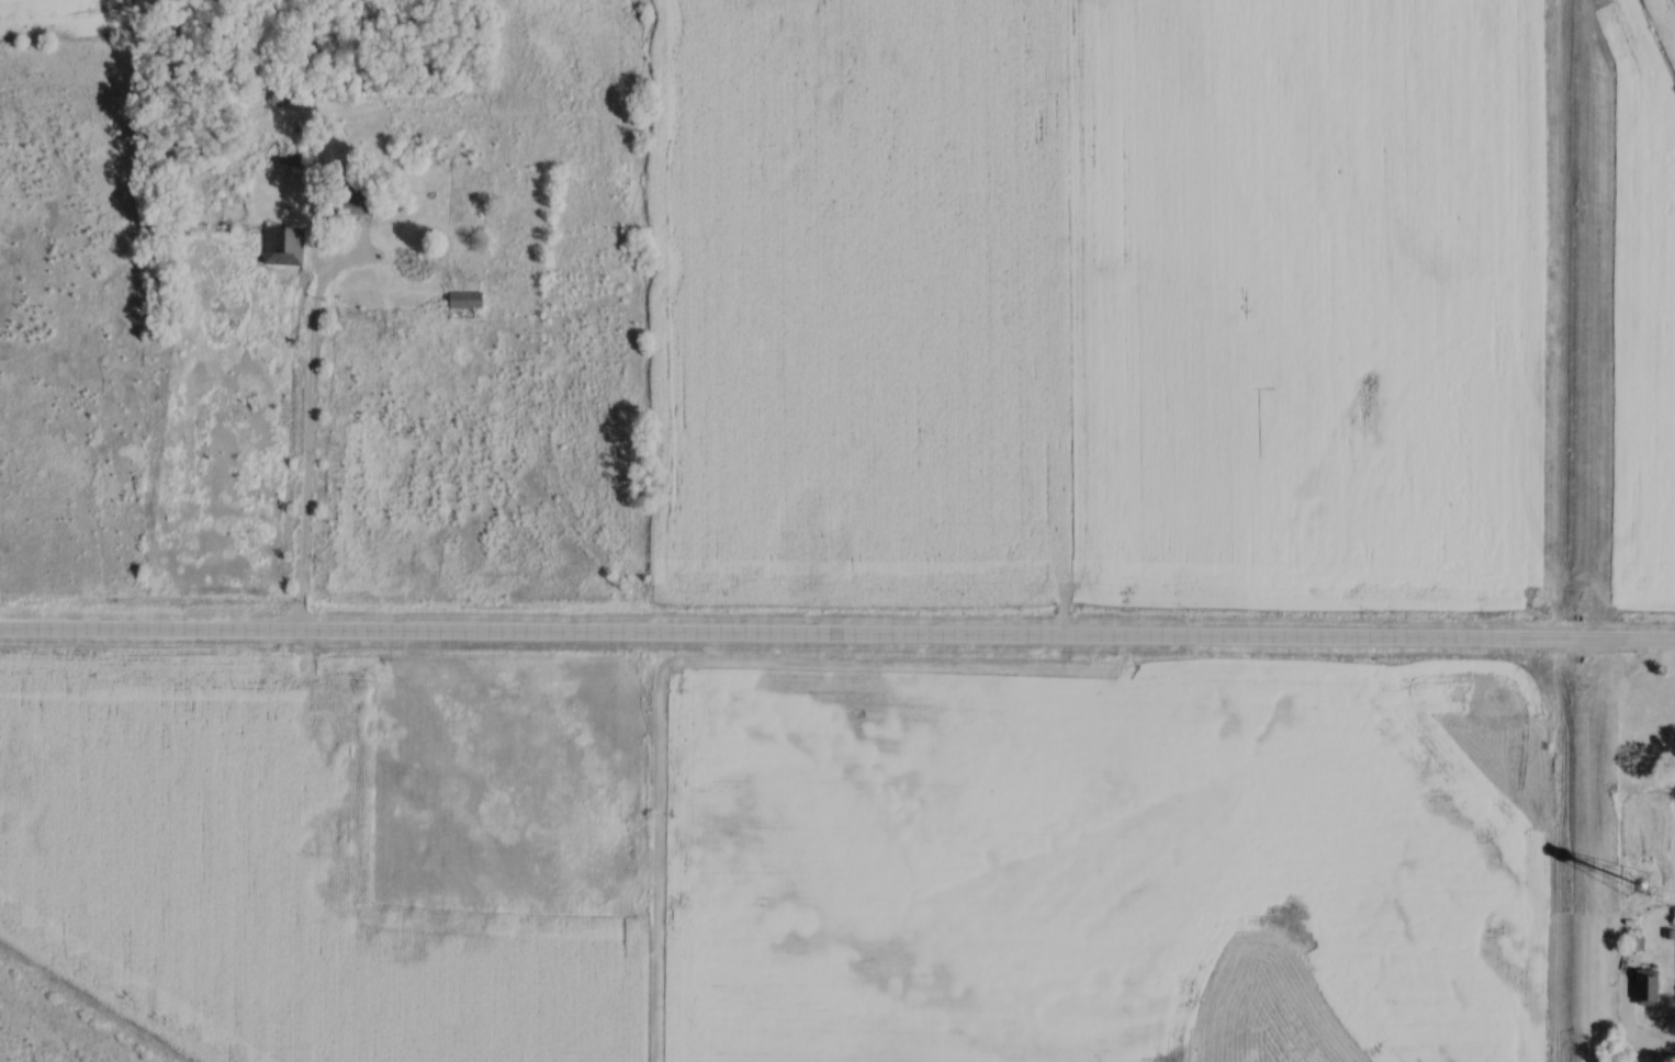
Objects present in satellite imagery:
building: (360, 208)
building: (286, 246)
building: (469, 300)
road: (306, 452)
road: (837, 637)
building: (1650, 995)
road: (1642, 1048)

